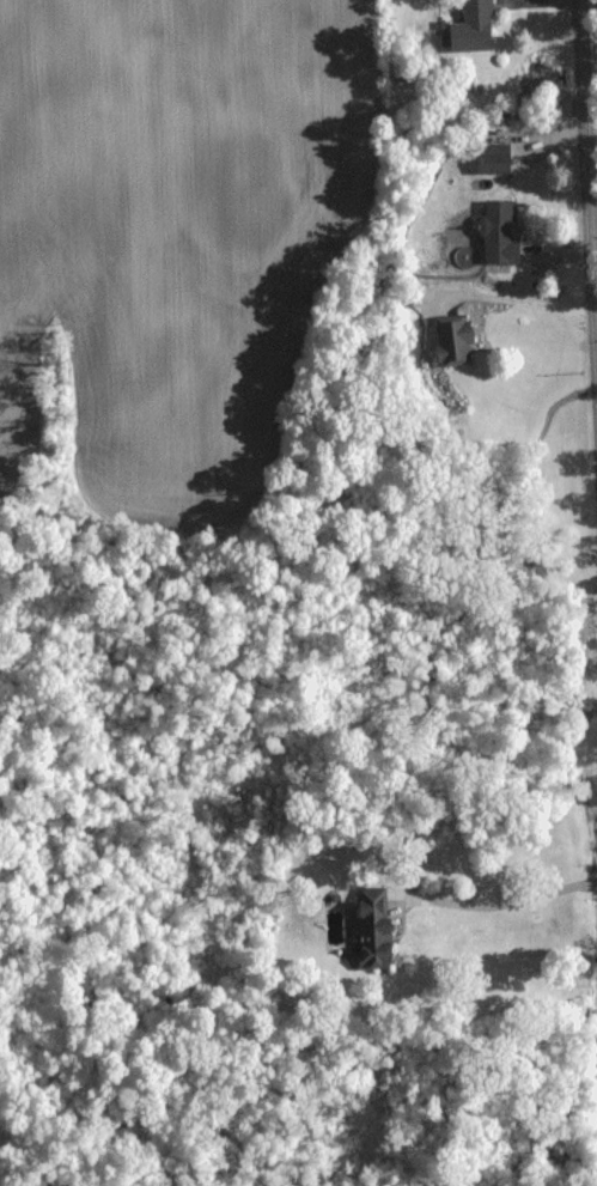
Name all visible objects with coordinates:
building: (471, 26)
building: (491, 157)
road: (589, 201)
building: (497, 232)
road: (522, 302)
road: (498, 905)
building: (371, 938)

